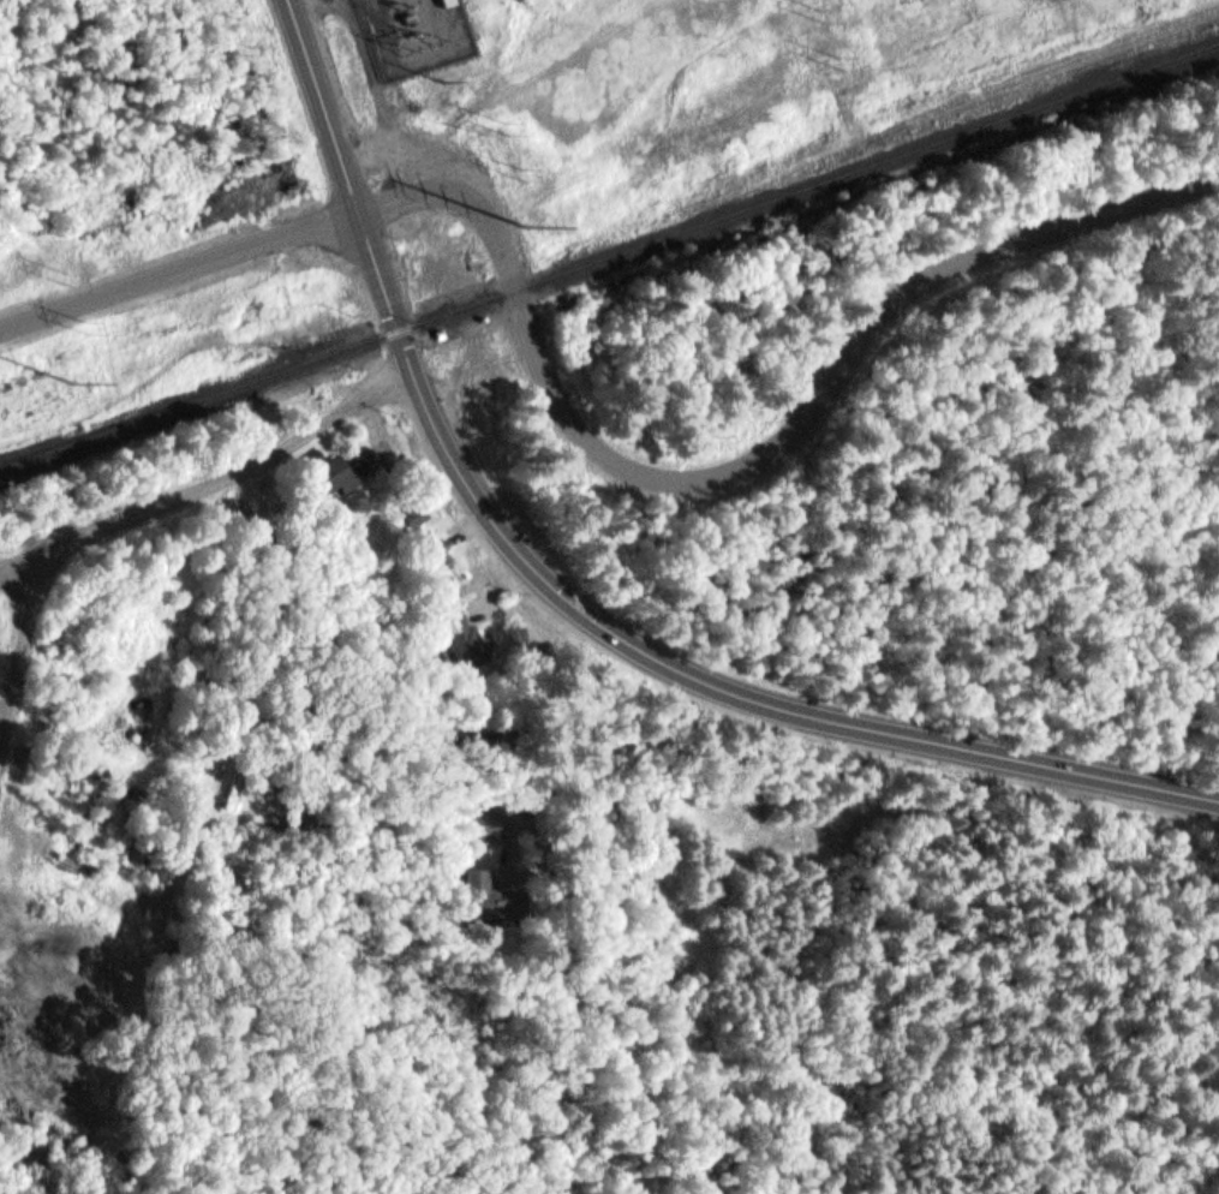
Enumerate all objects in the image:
power tower: (829, 17)
power substation: (418, 34)
power tower: (848, 58)
railway: (1064, 72)
power tower: (508, 126)
road: (345, 163)
railway: (868, 168)
power tower: (519, 180)
power tower: (527, 226)
power tower: (74, 276)
road: (138, 282)
power tower: (88, 324)
railway: (257, 378)
power tower: (77, 382)
building: (337, 465)
road: (712, 473)
road: (162, 507)
building: (413, 511)
building: (437, 544)
building: (464, 633)
road: (727, 687)
building: (70, 780)
building: (232, 788)
road: (216, 792)
building: (477, 816)
building: (477, 897)
road: (1208, 1098)

